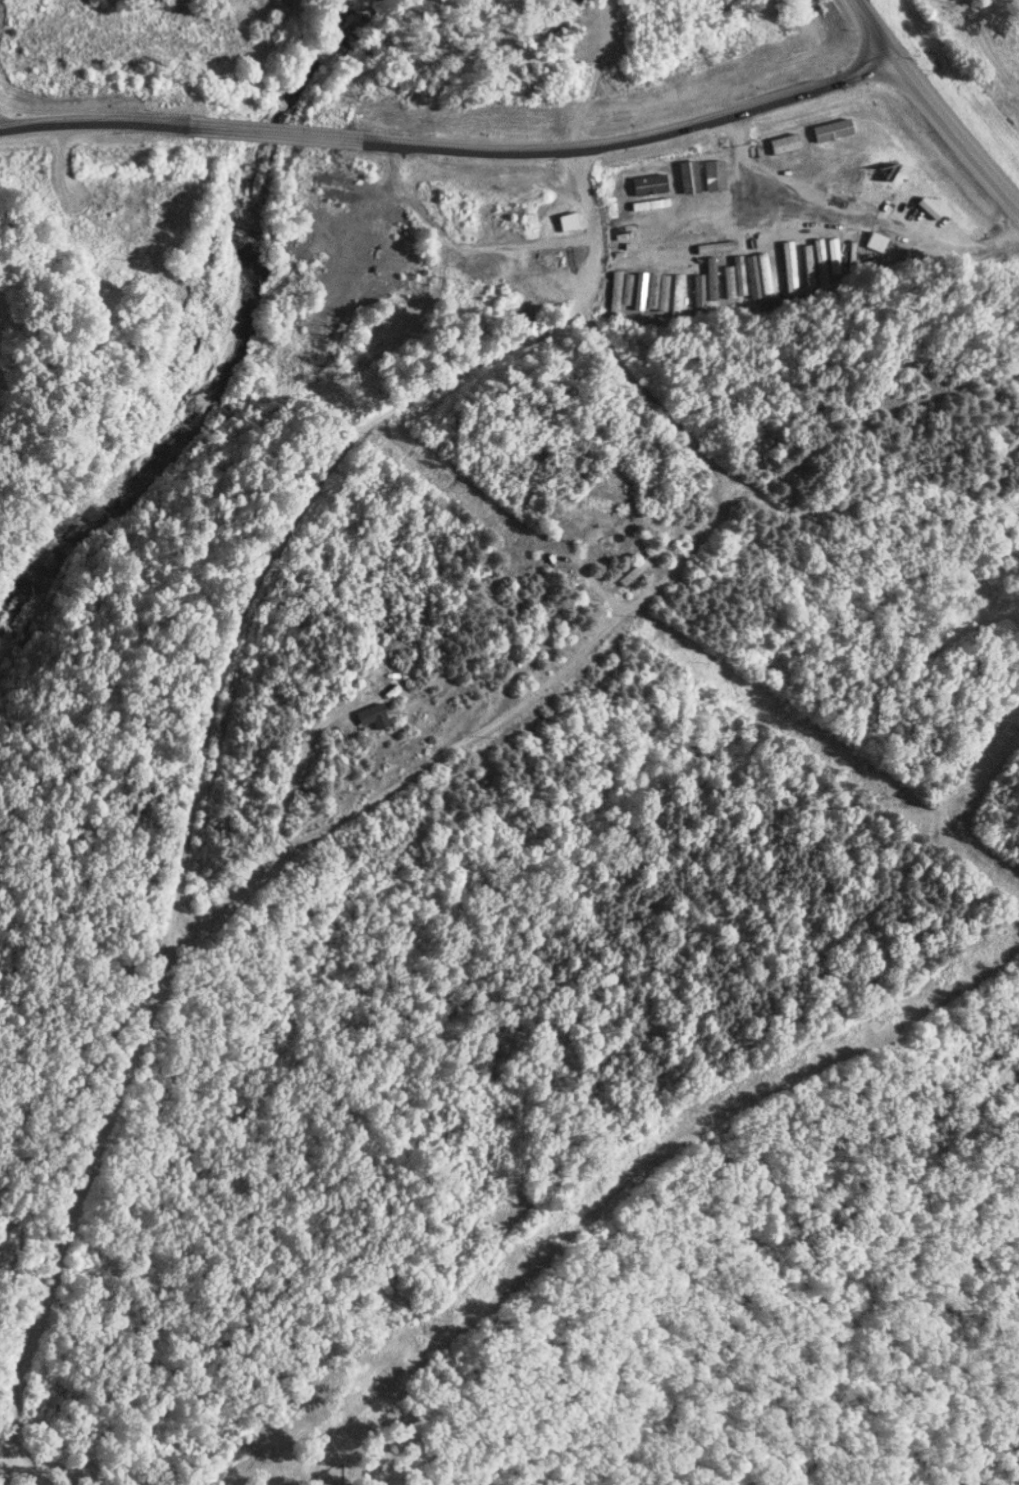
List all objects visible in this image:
road: (930, 108)
road: (100, 121)
road: (271, 131)
road: (620, 138)
building: (565, 220)
building: (875, 240)
building: (498, 292)
building: (480, 293)
building: (456, 298)
building: (390, 349)
building: (634, 569)
building: (374, 714)

